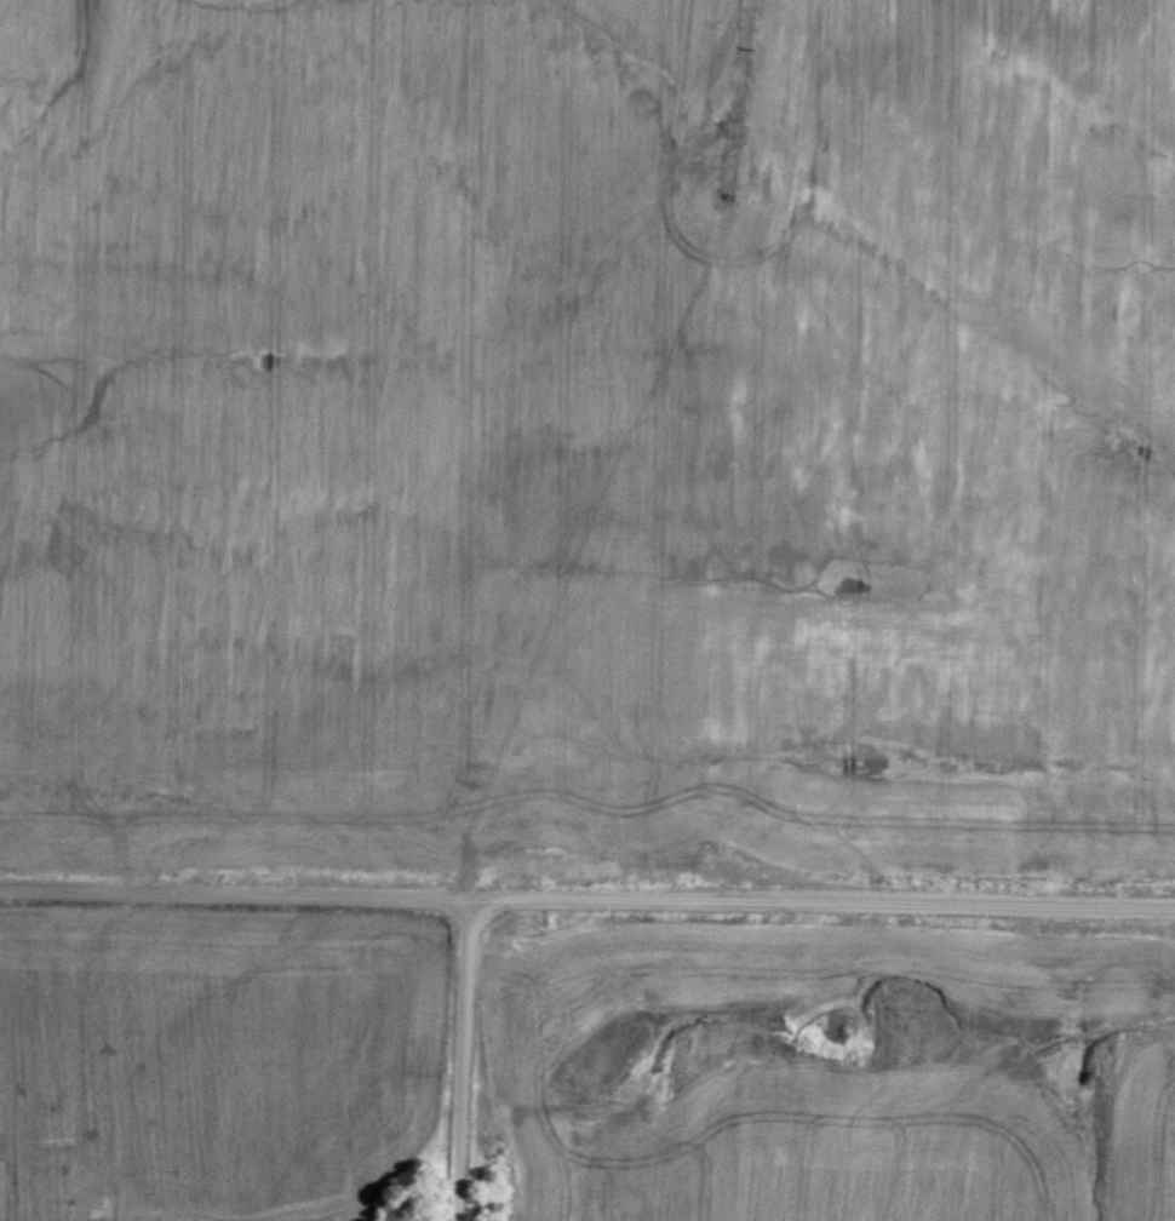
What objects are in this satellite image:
road: (586, 902)
road: (470, 1061)

